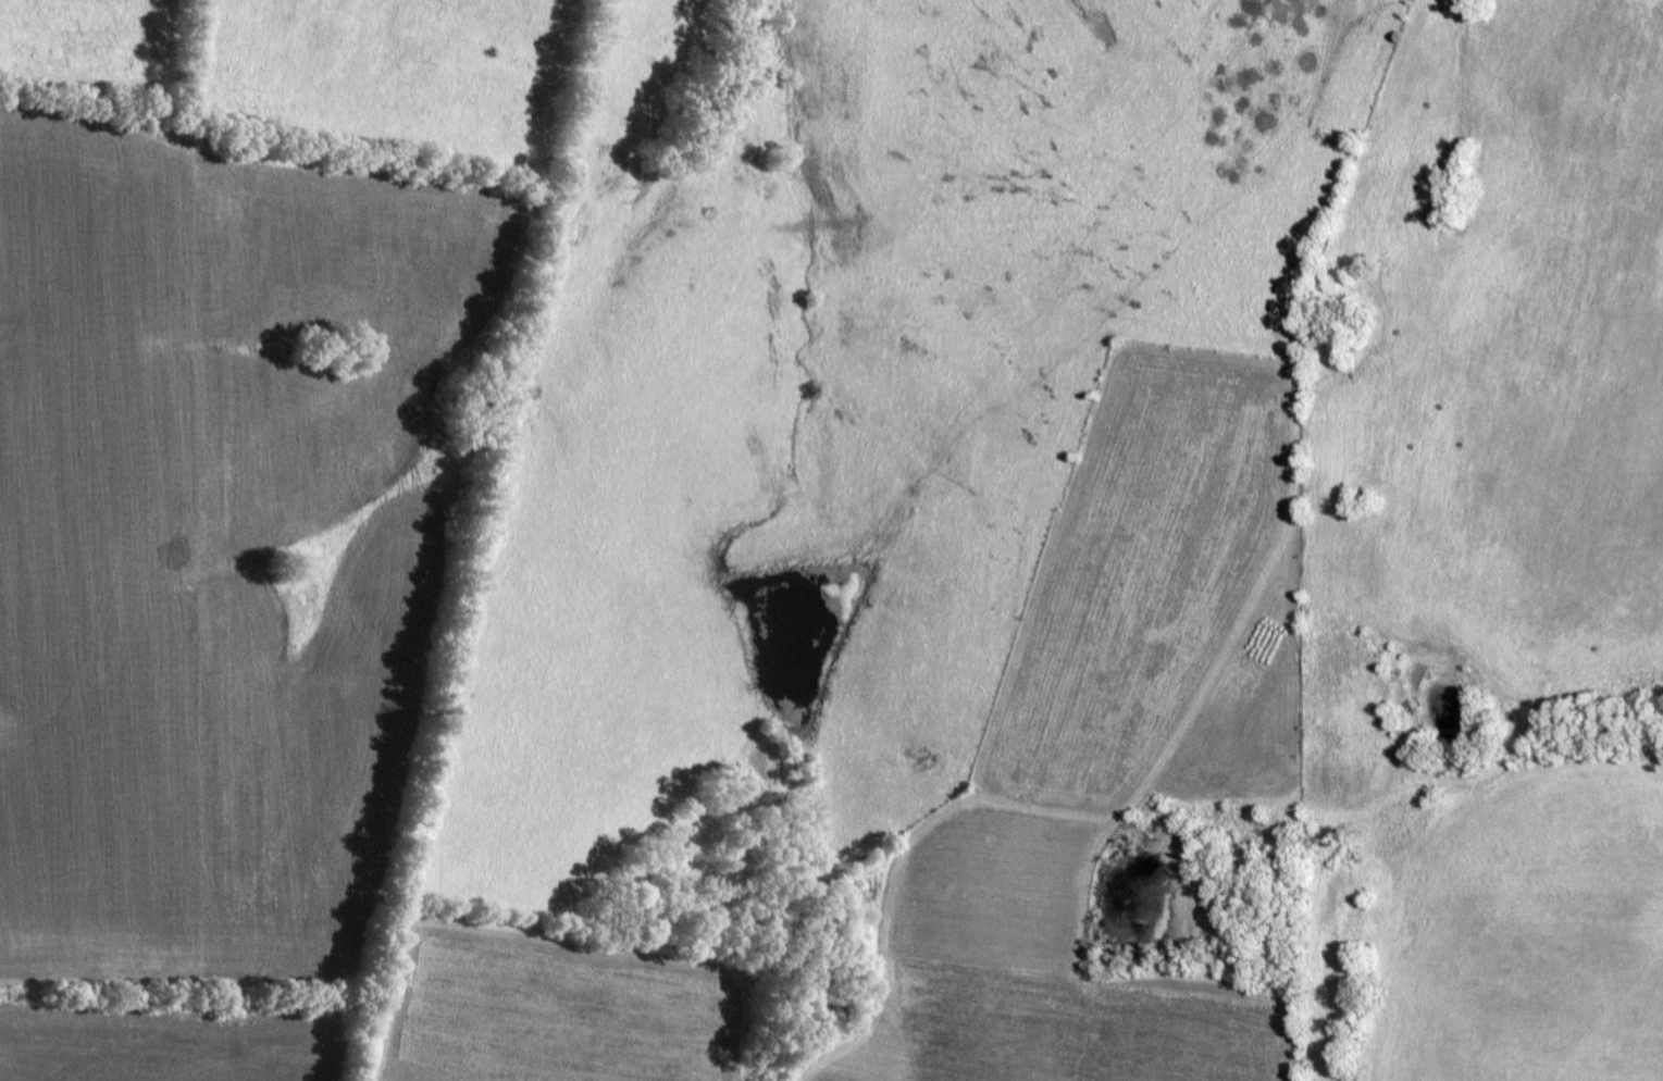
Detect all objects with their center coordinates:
road: (1493, 107)

